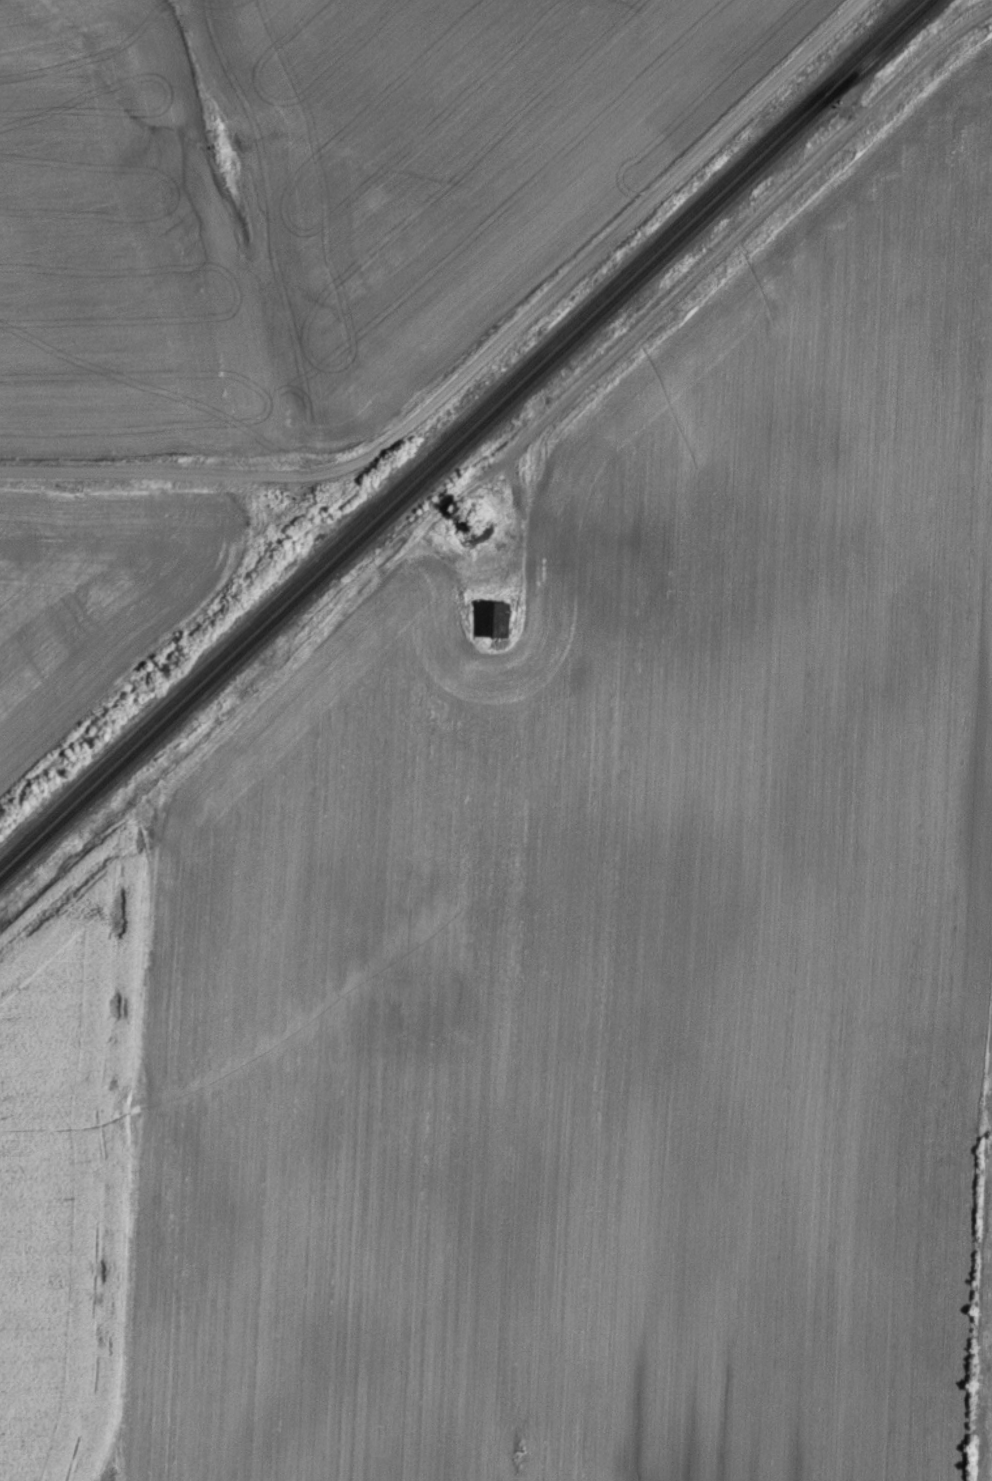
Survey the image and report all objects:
road: (748, 229)
road: (552, 290)
railway: (460, 434)
railway: (467, 441)
road: (98, 468)
building: (498, 620)
road: (175, 792)

